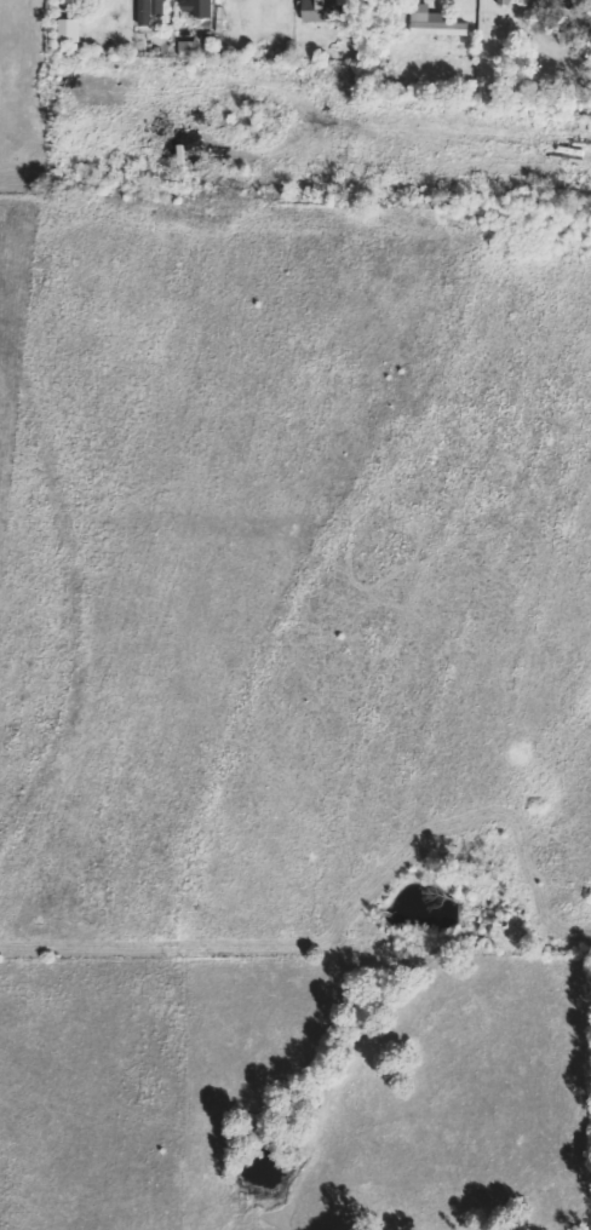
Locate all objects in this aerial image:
building: (504, 2)
building: (195, 7)
building: (148, 10)
building: (316, 12)
building: (434, 22)
building: (69, 30)
building: (188, 47)

